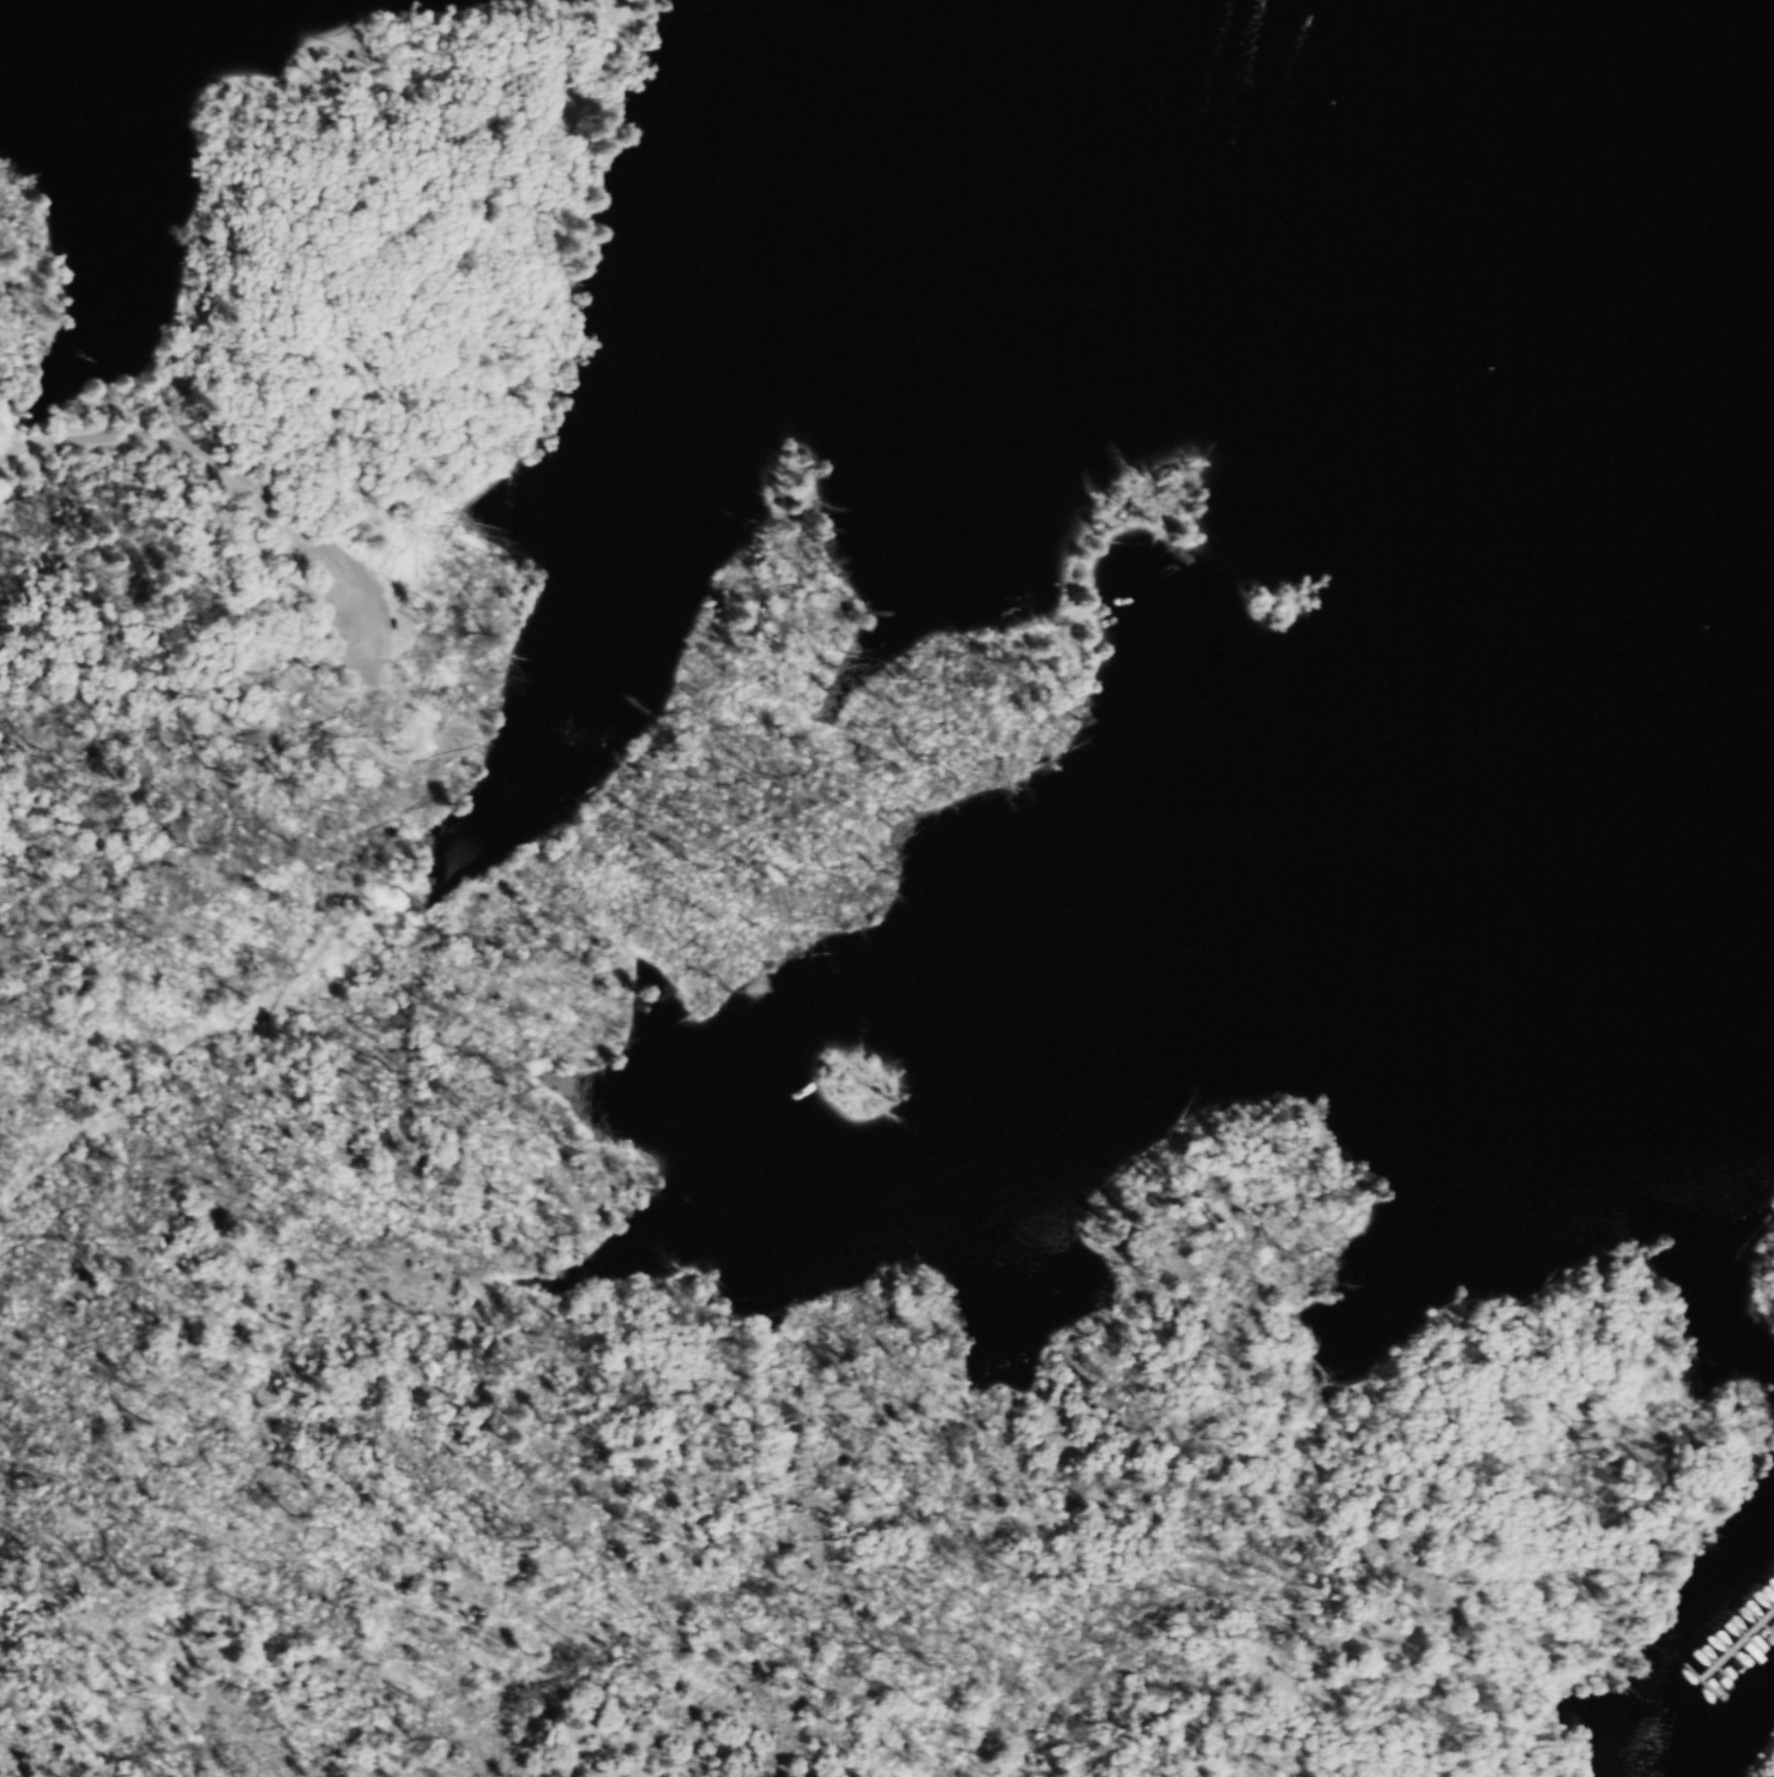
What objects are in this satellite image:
road: (245, 482)
pier: (1769, 1614)
pier: (1761, 1633)
pier: (1772, 1643)
pier: (1746, 1650)
pier: (1762, 1664)
pier: (1732, 1665)
pier: (1743, 1669)
pier: (1748, 1680)
pier: (1719, 1681)
pier: (1734, 1695)
pier: (1704, 1697)
pier: (1720, 1711)

